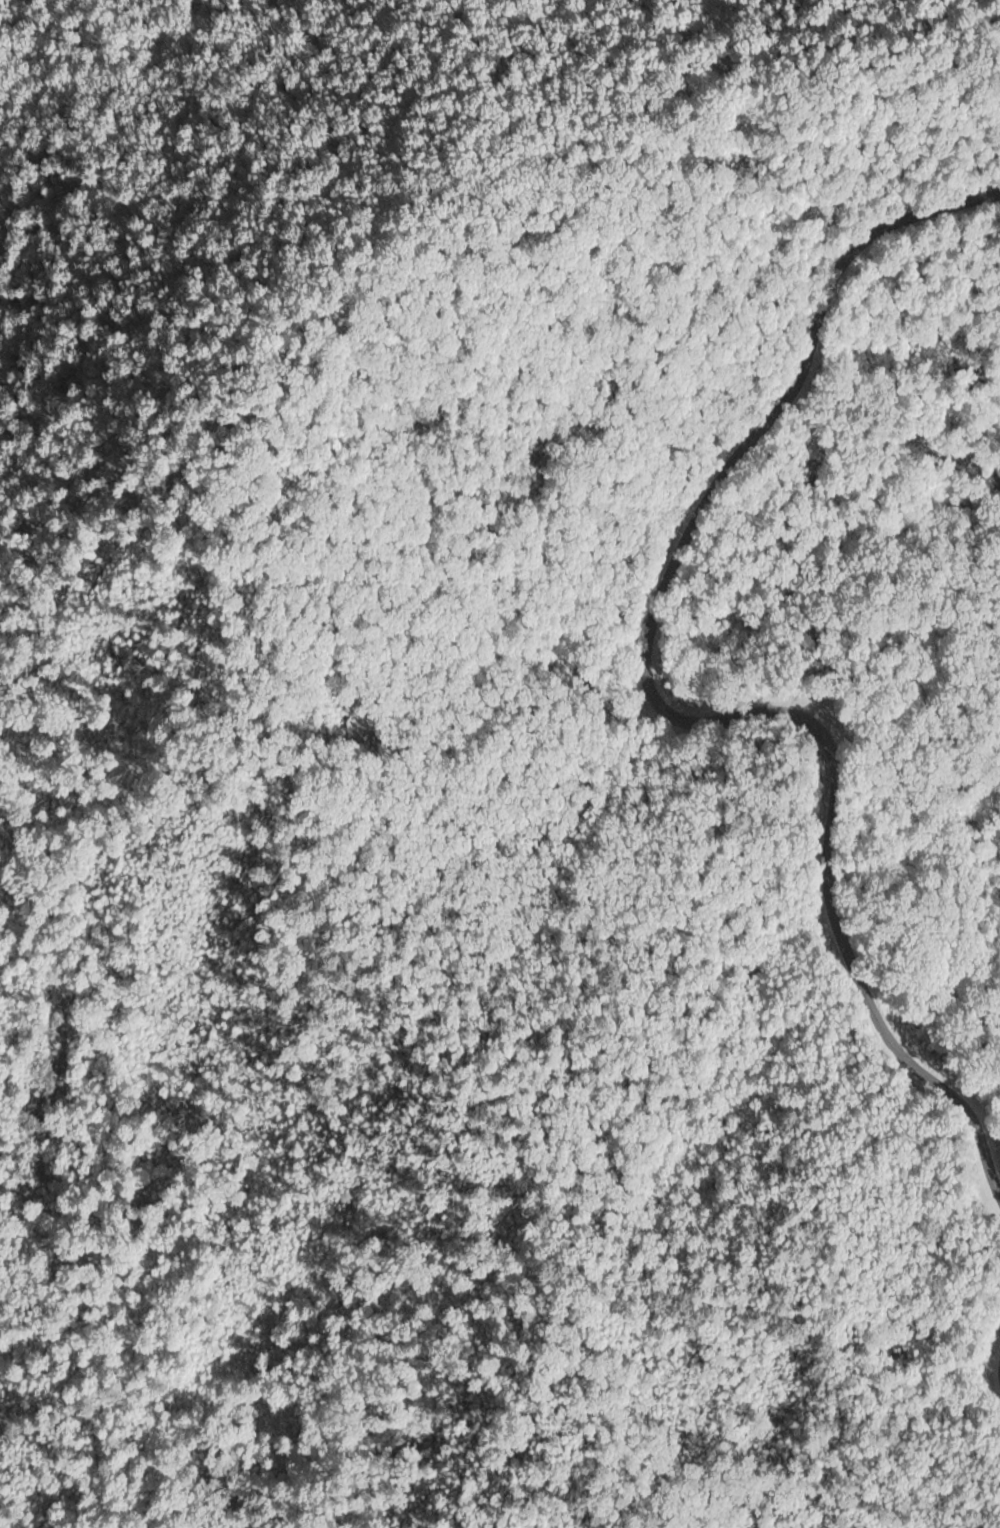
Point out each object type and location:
road: (677, 713)

